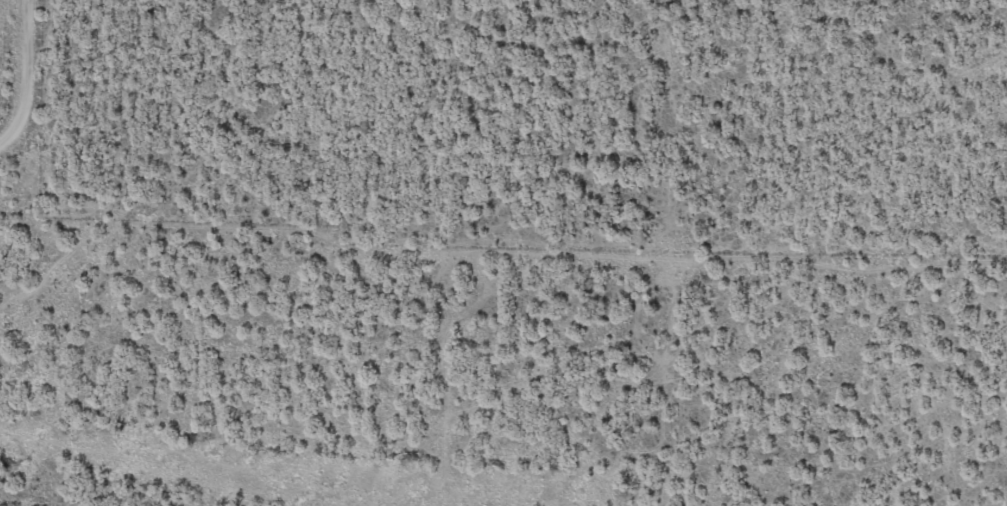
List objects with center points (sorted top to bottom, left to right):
road: (26, 76)

